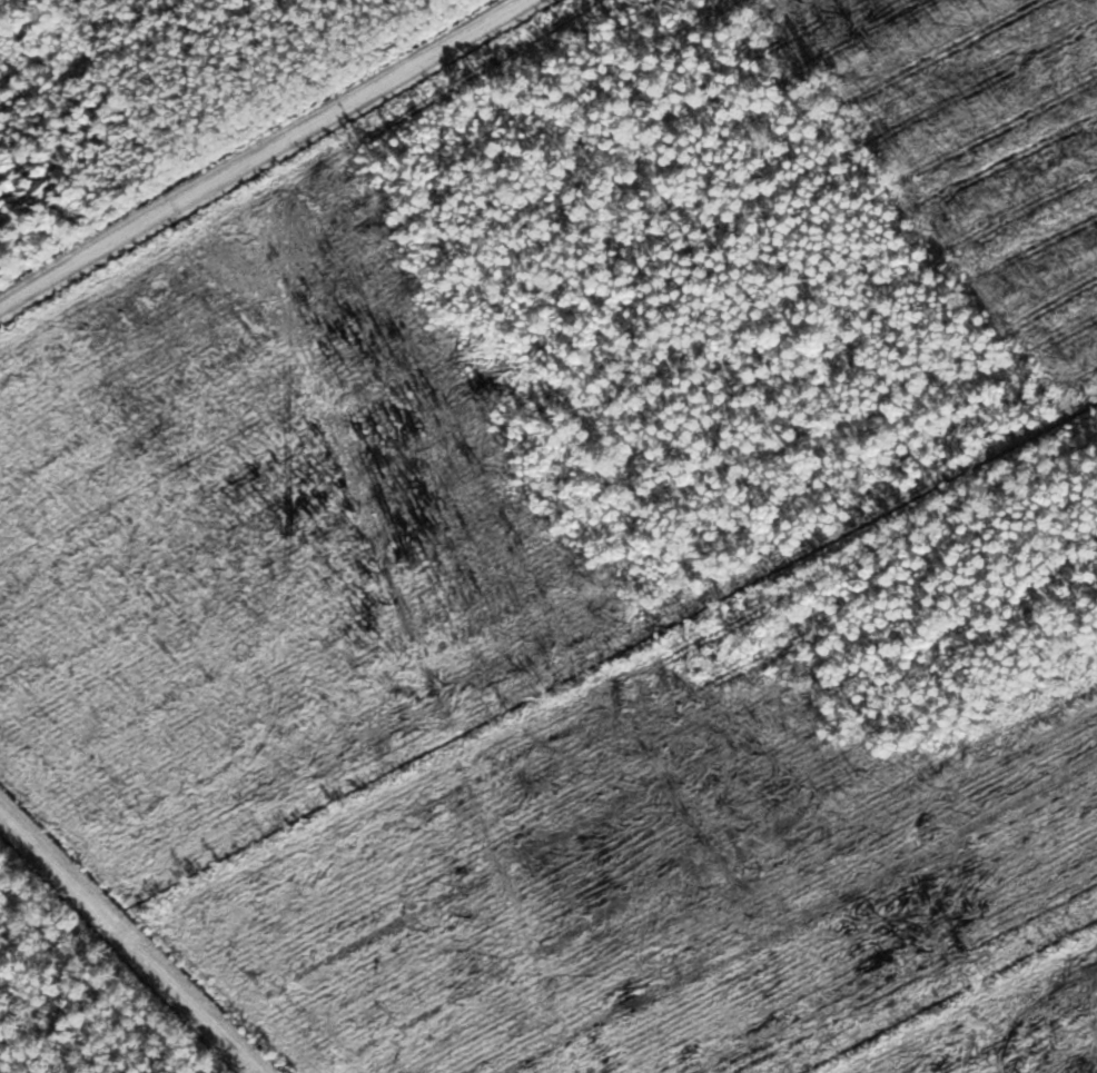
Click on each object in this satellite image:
road: (270, 157)
road: (134, 937)

